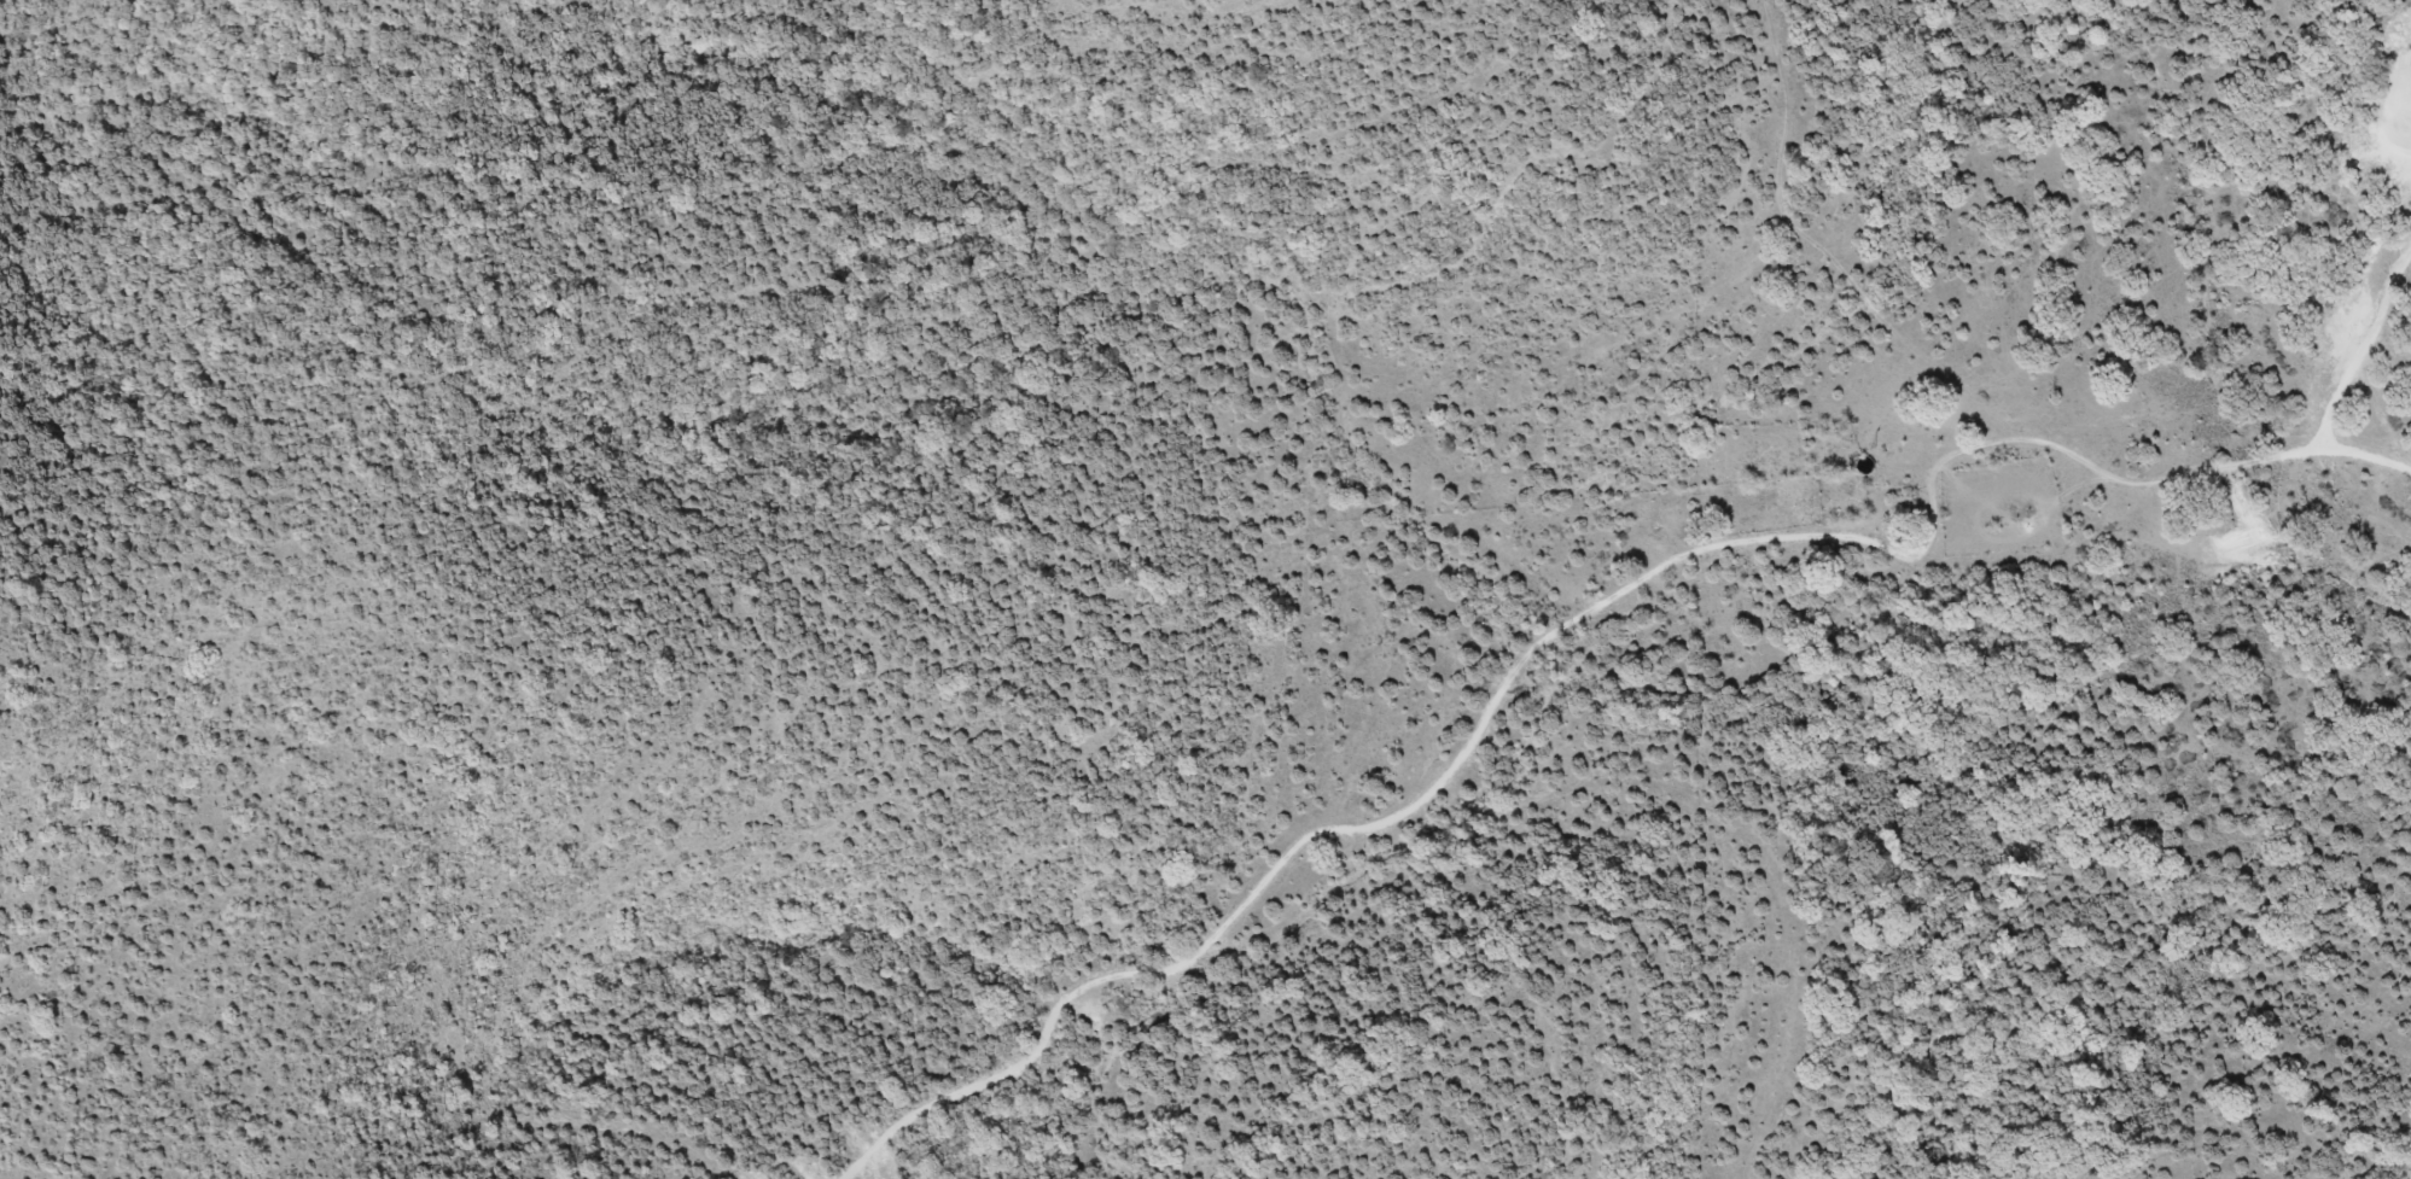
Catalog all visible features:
road: (2378, 310)
road: (2311, 410)
road: (2247, 431)

